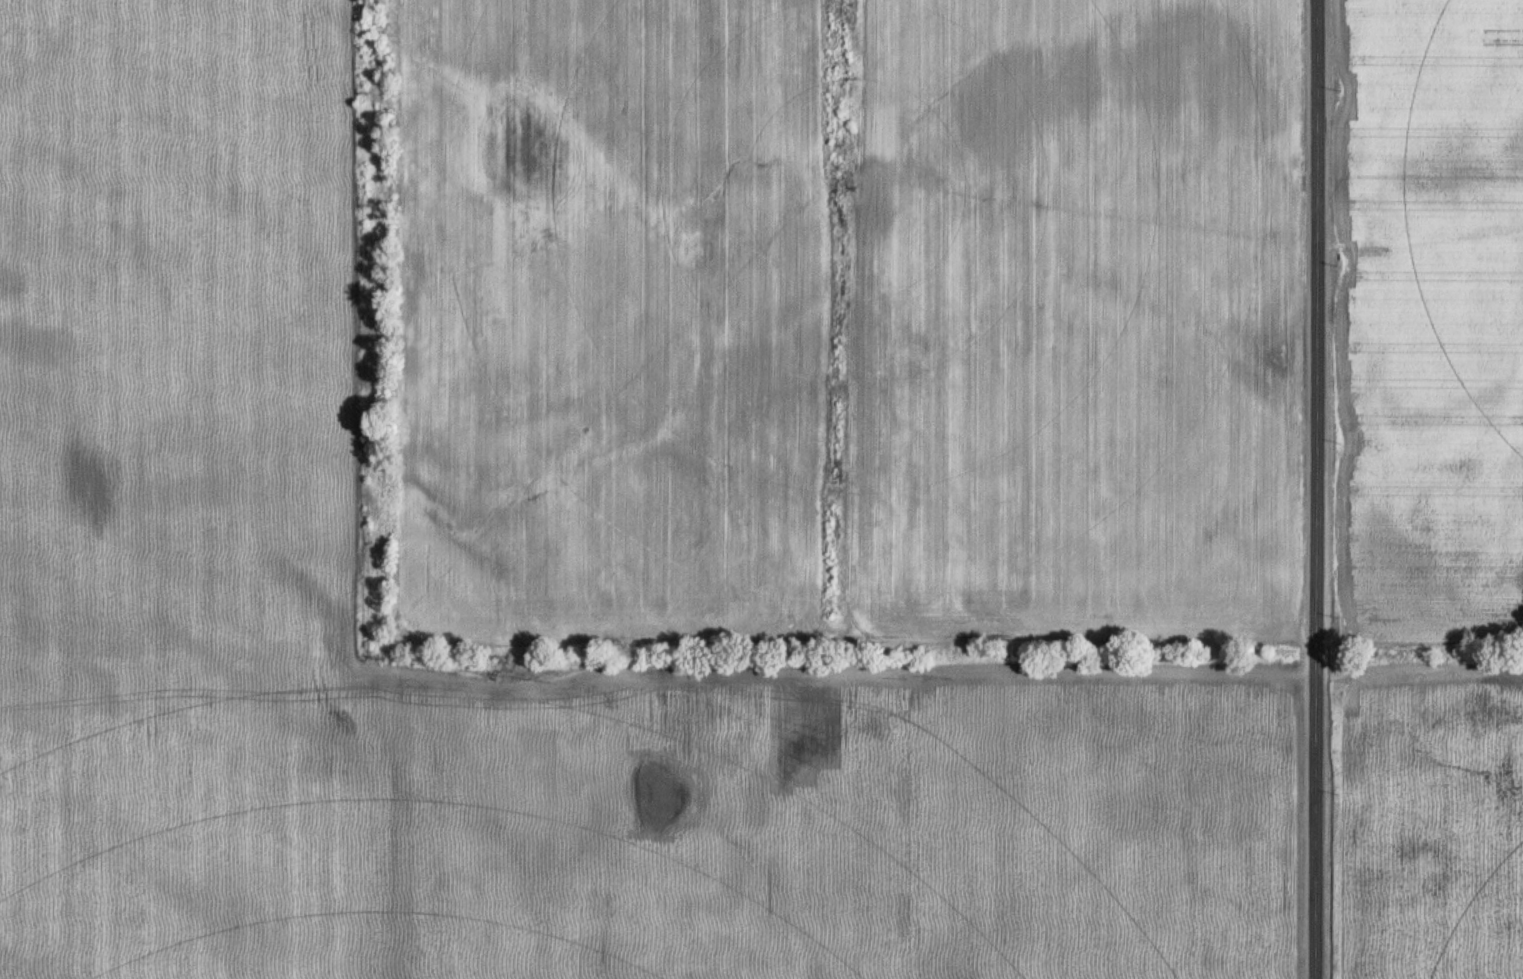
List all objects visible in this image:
road: (1315, 489)

